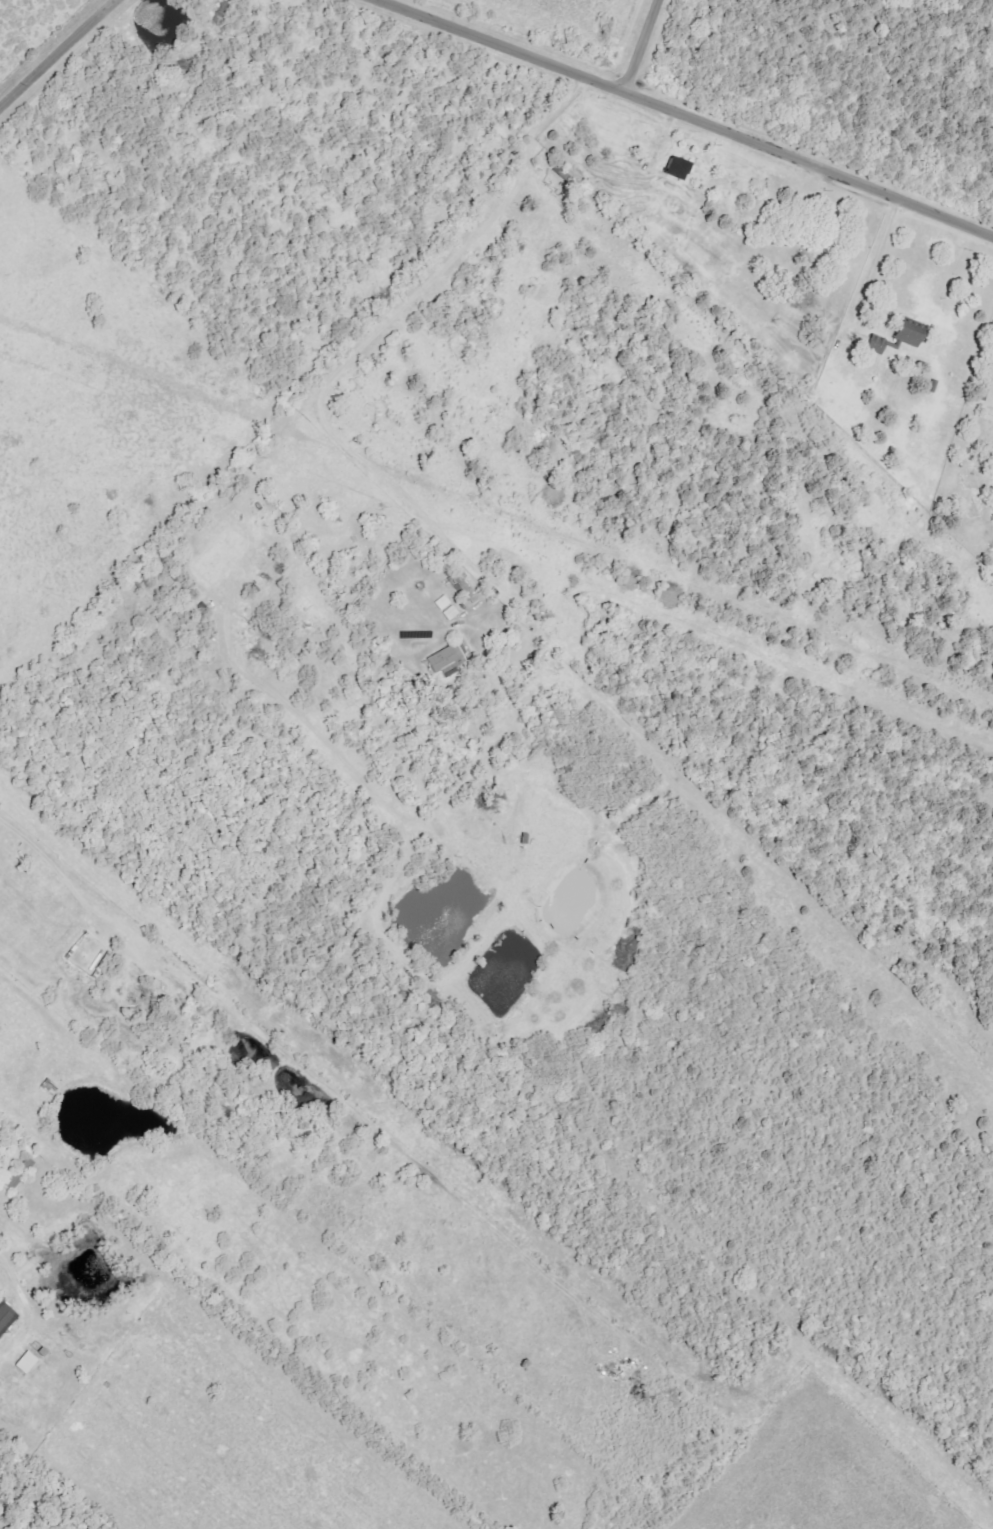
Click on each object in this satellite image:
road: (642, 44)
road: (56, 54)
road: (690, 112)
building: (680, 167)
road: (875, 256)
road: (383, 327)
building: (910, 335)
building: (878, 344)
building: (448, 608)
building: (448, 657)
road: (24, 1310)
building: (6, 1316)
building: (28, 1362)

